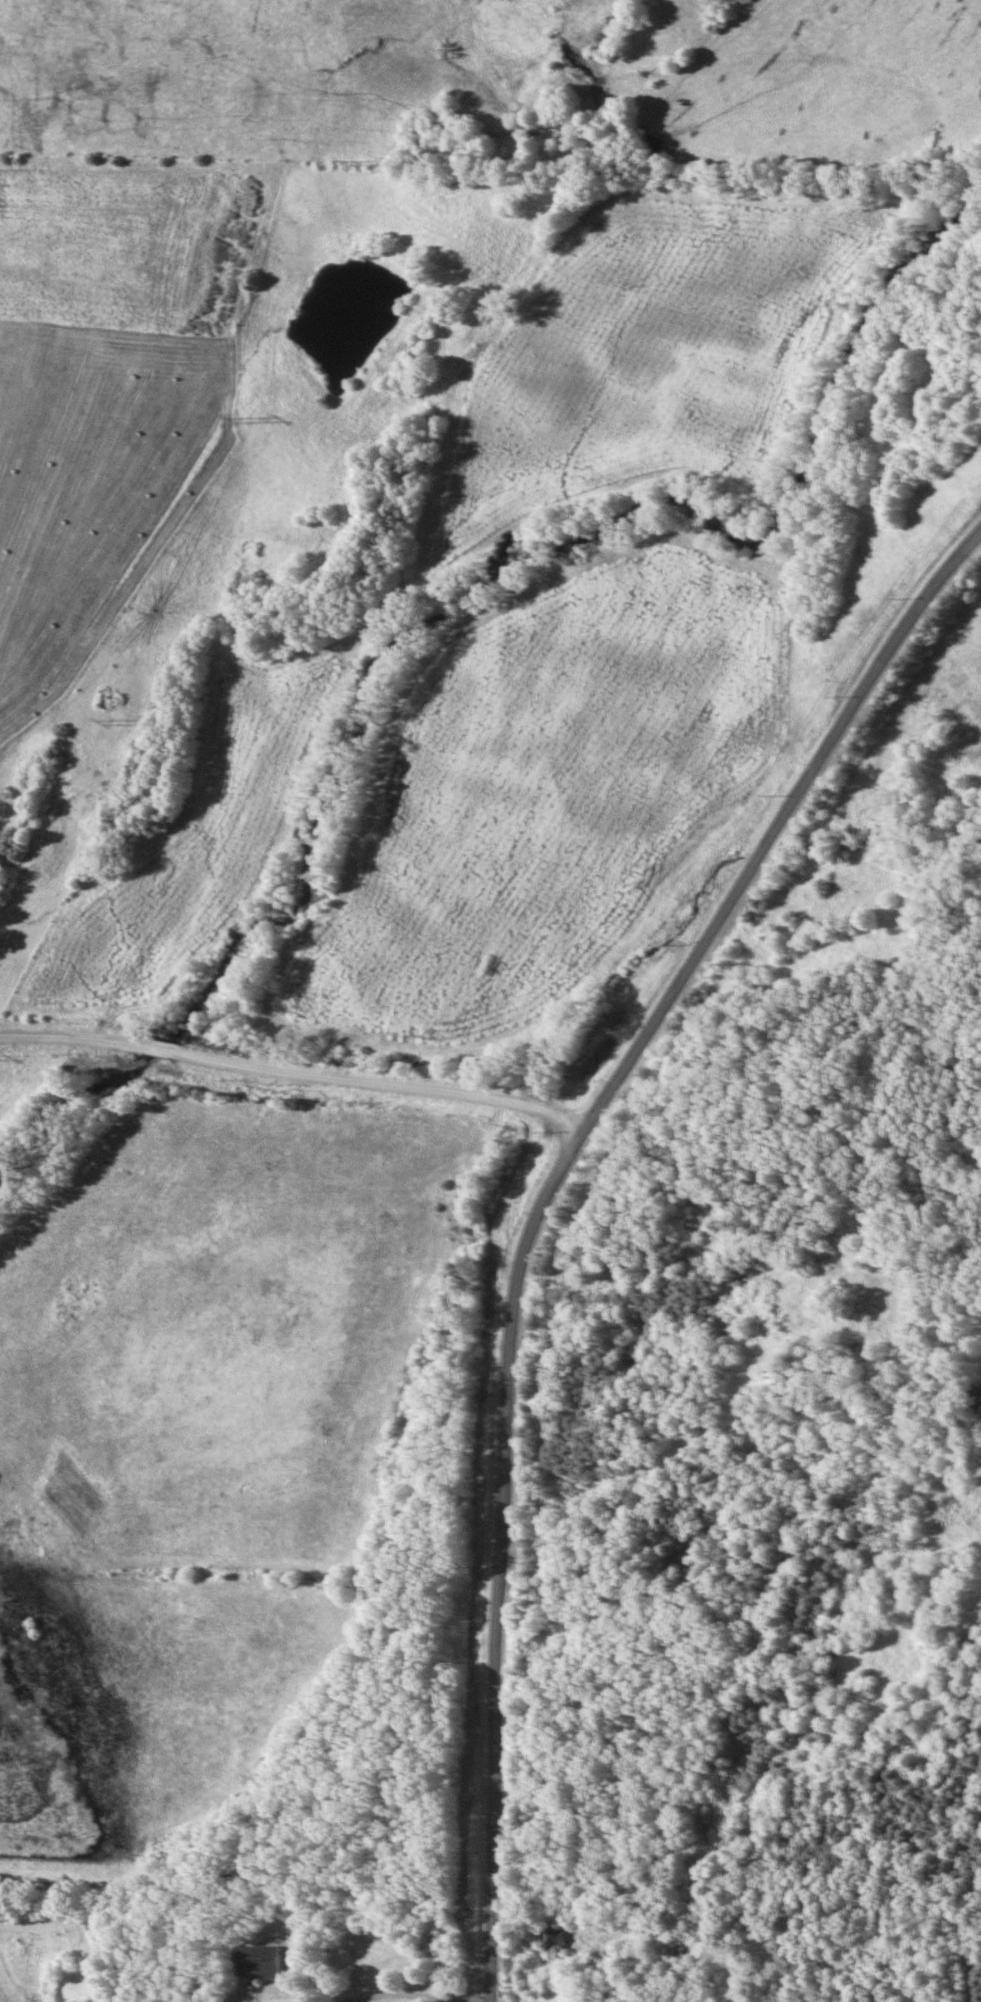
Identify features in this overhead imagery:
power tower: (351, 168)
road: (158, 250)
power tower: (244, 420)
power tower: (113, 723)
road: (298, 1071)
road: (553, 1205)
building: (554, 1938)
building: (291, 1956)
building: (255, 1963)
road: (424, 1995)

